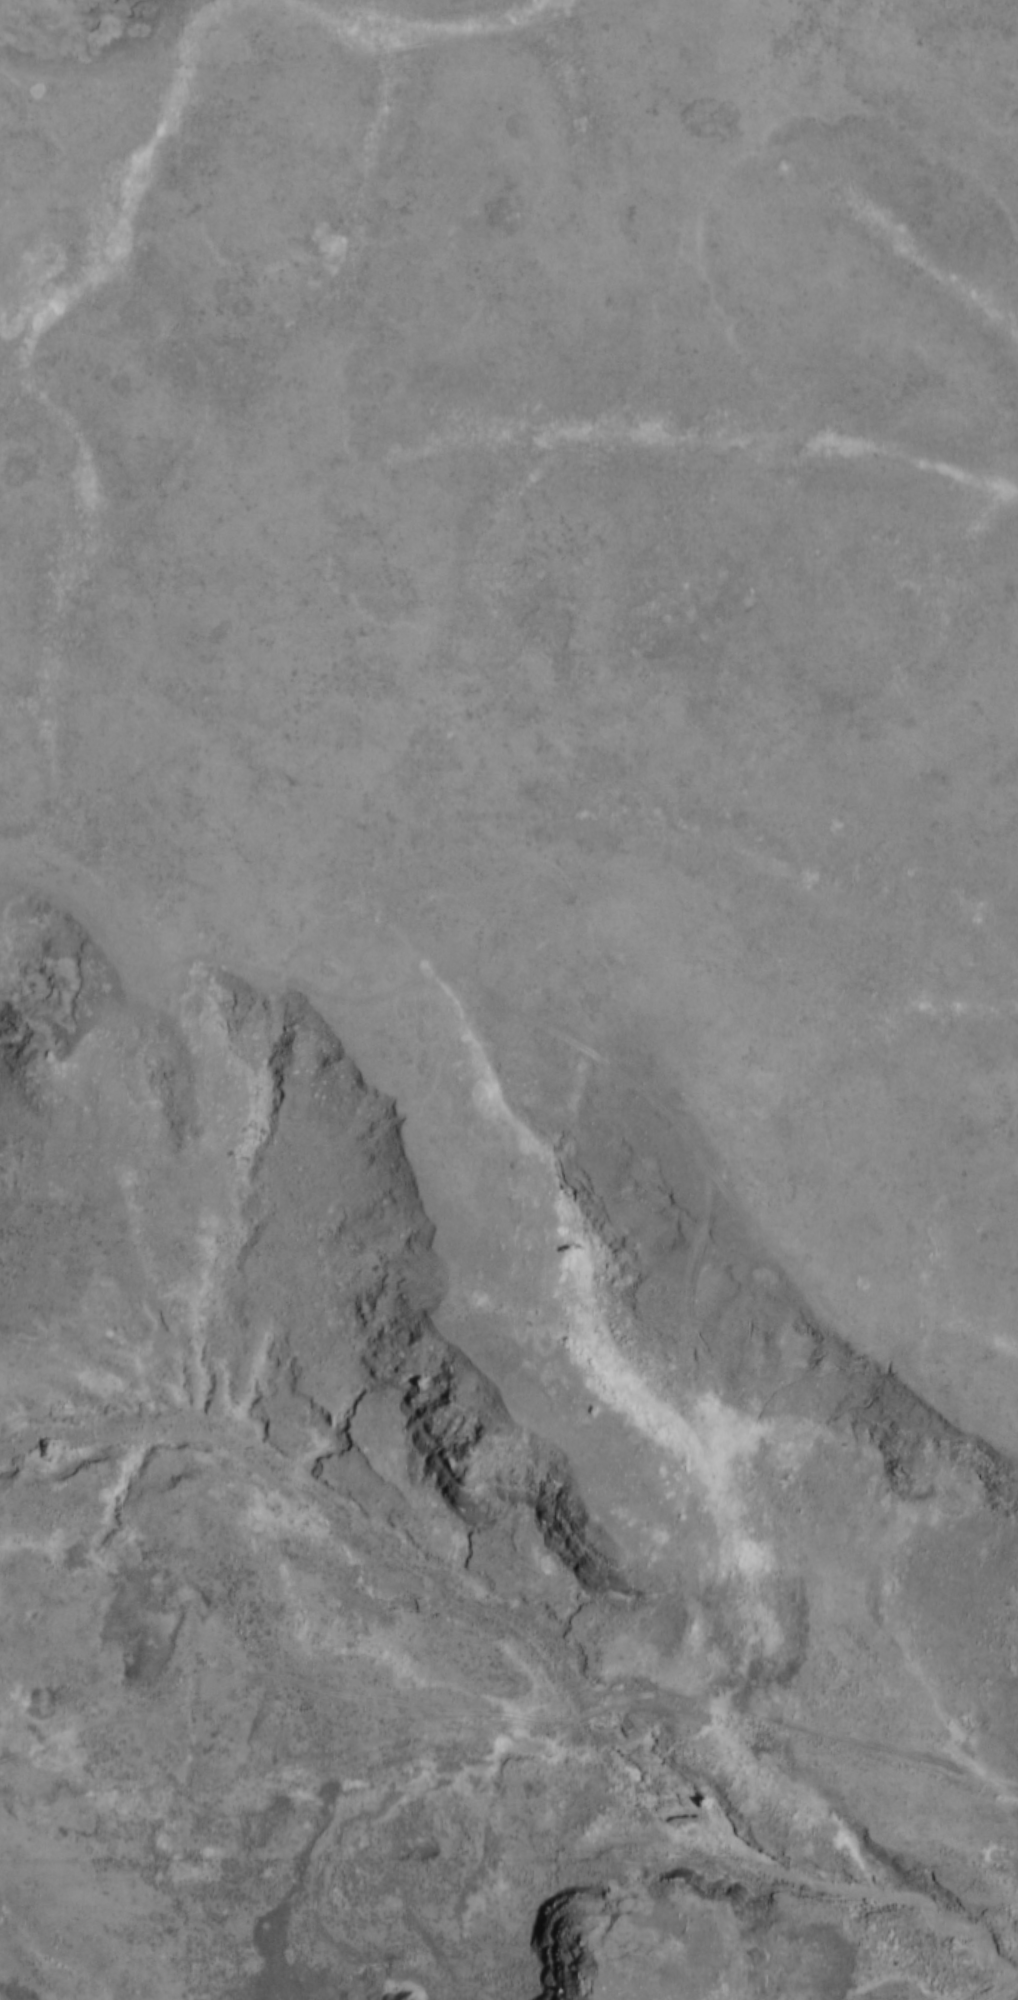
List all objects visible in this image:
road: (508, 1700)

